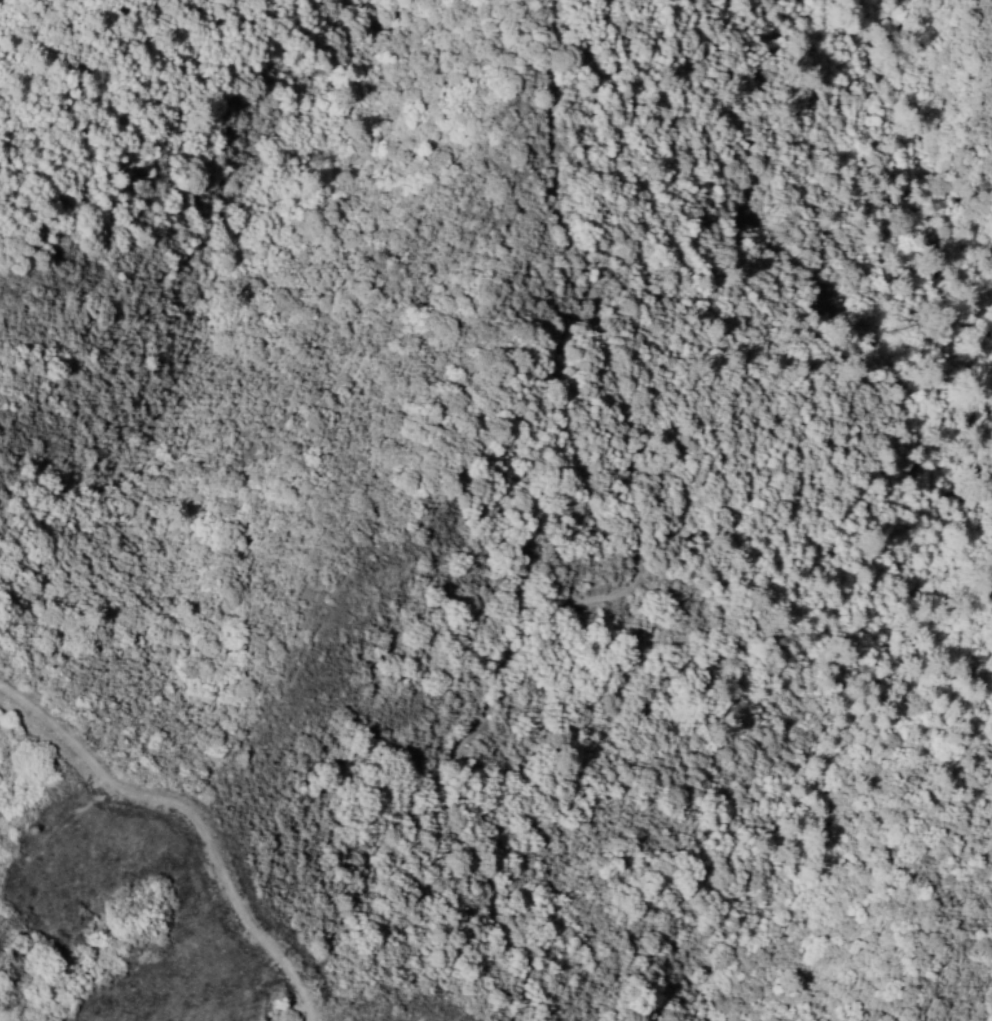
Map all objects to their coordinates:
road: (190, 822)

